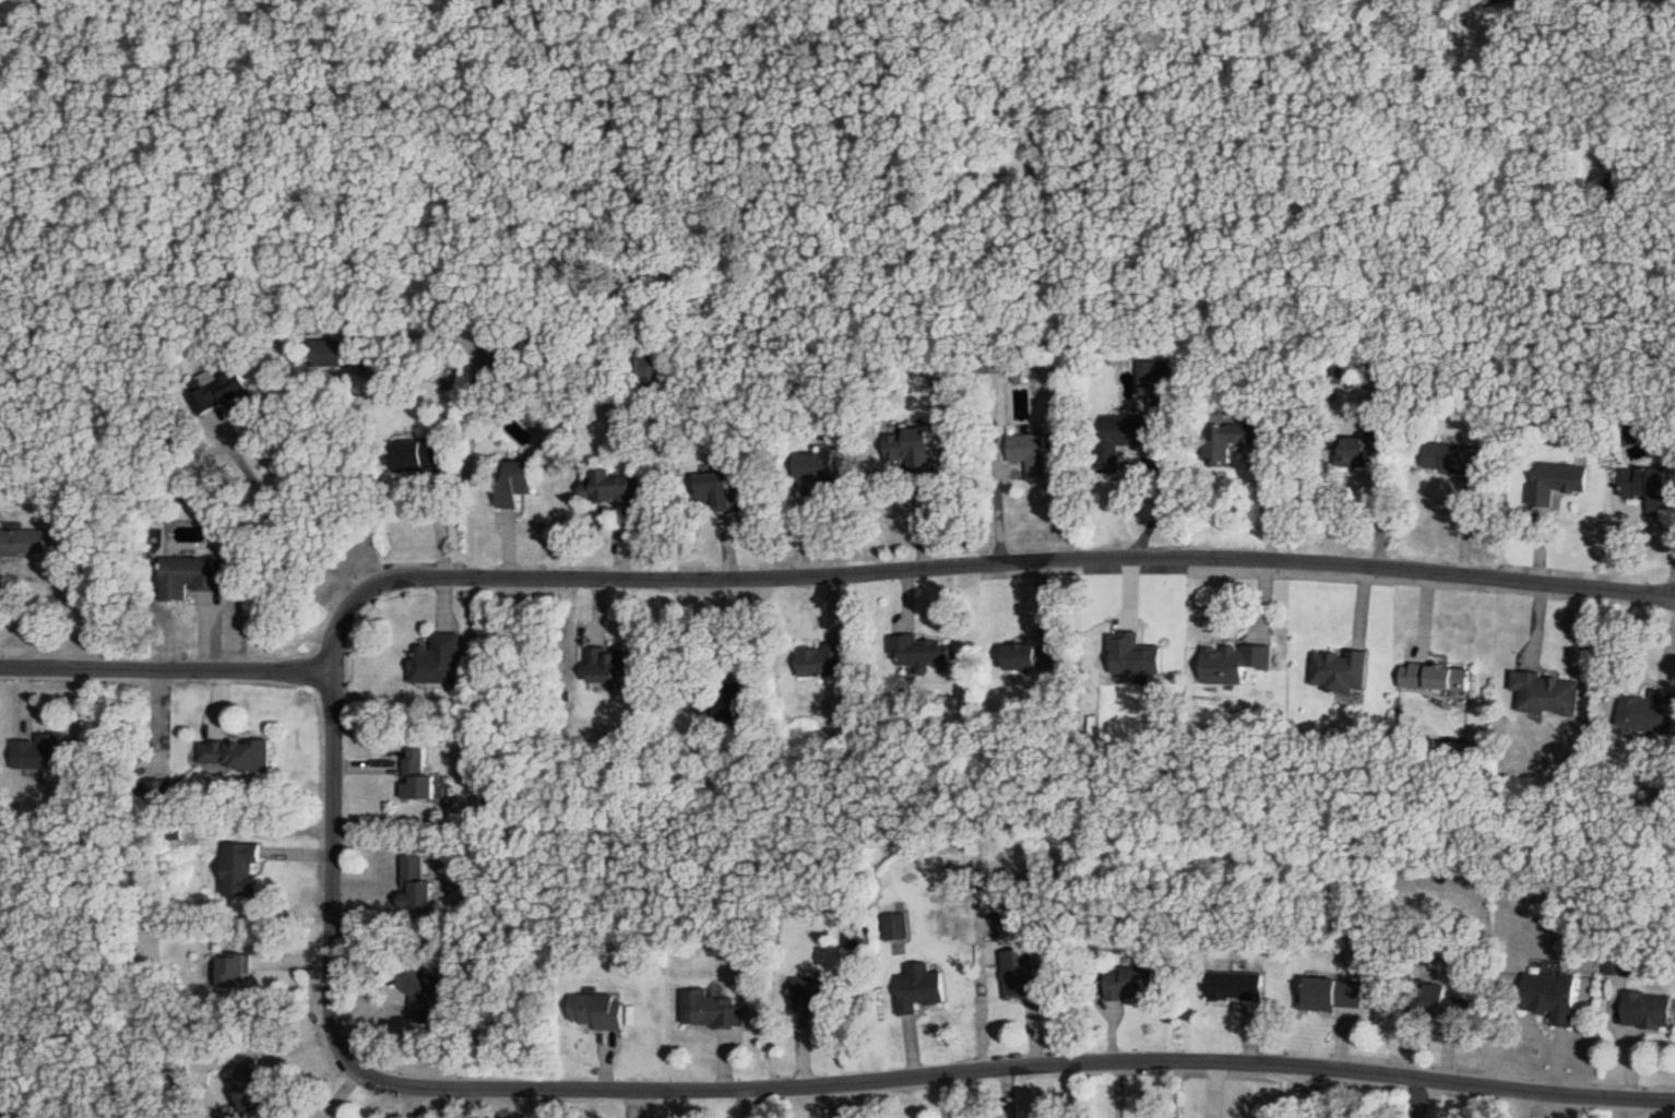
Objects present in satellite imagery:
building: (329, 352)
building: (506, 355)
building: (994, 360)
building: (652, 365)
building: (1155, 371)
building: (222, 389)
building: (1122, 435)
building: (1234, 438)
building: (910, 445)
building: (1351, 450)
building: (1031, 451)
building: (423, 453)
building: (1447, 459)
building: (820, 468)
building: (518, 481)
building: (1554, 481)
building: (1644, 486)
building: (611, 487)
building: (720, 488)
road: (285, 513)
building: (23, 540)
road: (1017, 563)
building: (191, 576)
building: (920, 650)
building: (1035, 655)
building: (438, 659)
building: (824, 659)
building: (1235, 661)
building: (613, 665)
road: (164, 668)
building: (1338, 670)
building: (1433, 678)
building: (1545, 694)
building: (722, 699)
building: (1648, 713)
building: (40, 751)
building: (236, 753)
building: (419, 775)
road: (326, 845)
building: (243, 868)
building: (417, 884)
building: (898, 931)
building: (856, 935)
building: (1617, 963)
building: (236, 971)
building: (1021, 973)
building: (1131, 983)
building: (1235, 985)
building: (922, 986)
building: (421, 991)
building: (1329, 994)
building: (812, 997)
building: (1548, 997)
building: (1434, 1003)
building: (713, 1009)
building: (1646, 1010)
building: (597, 1012)
road: (1022, 1067)
building: (251, 1086)

